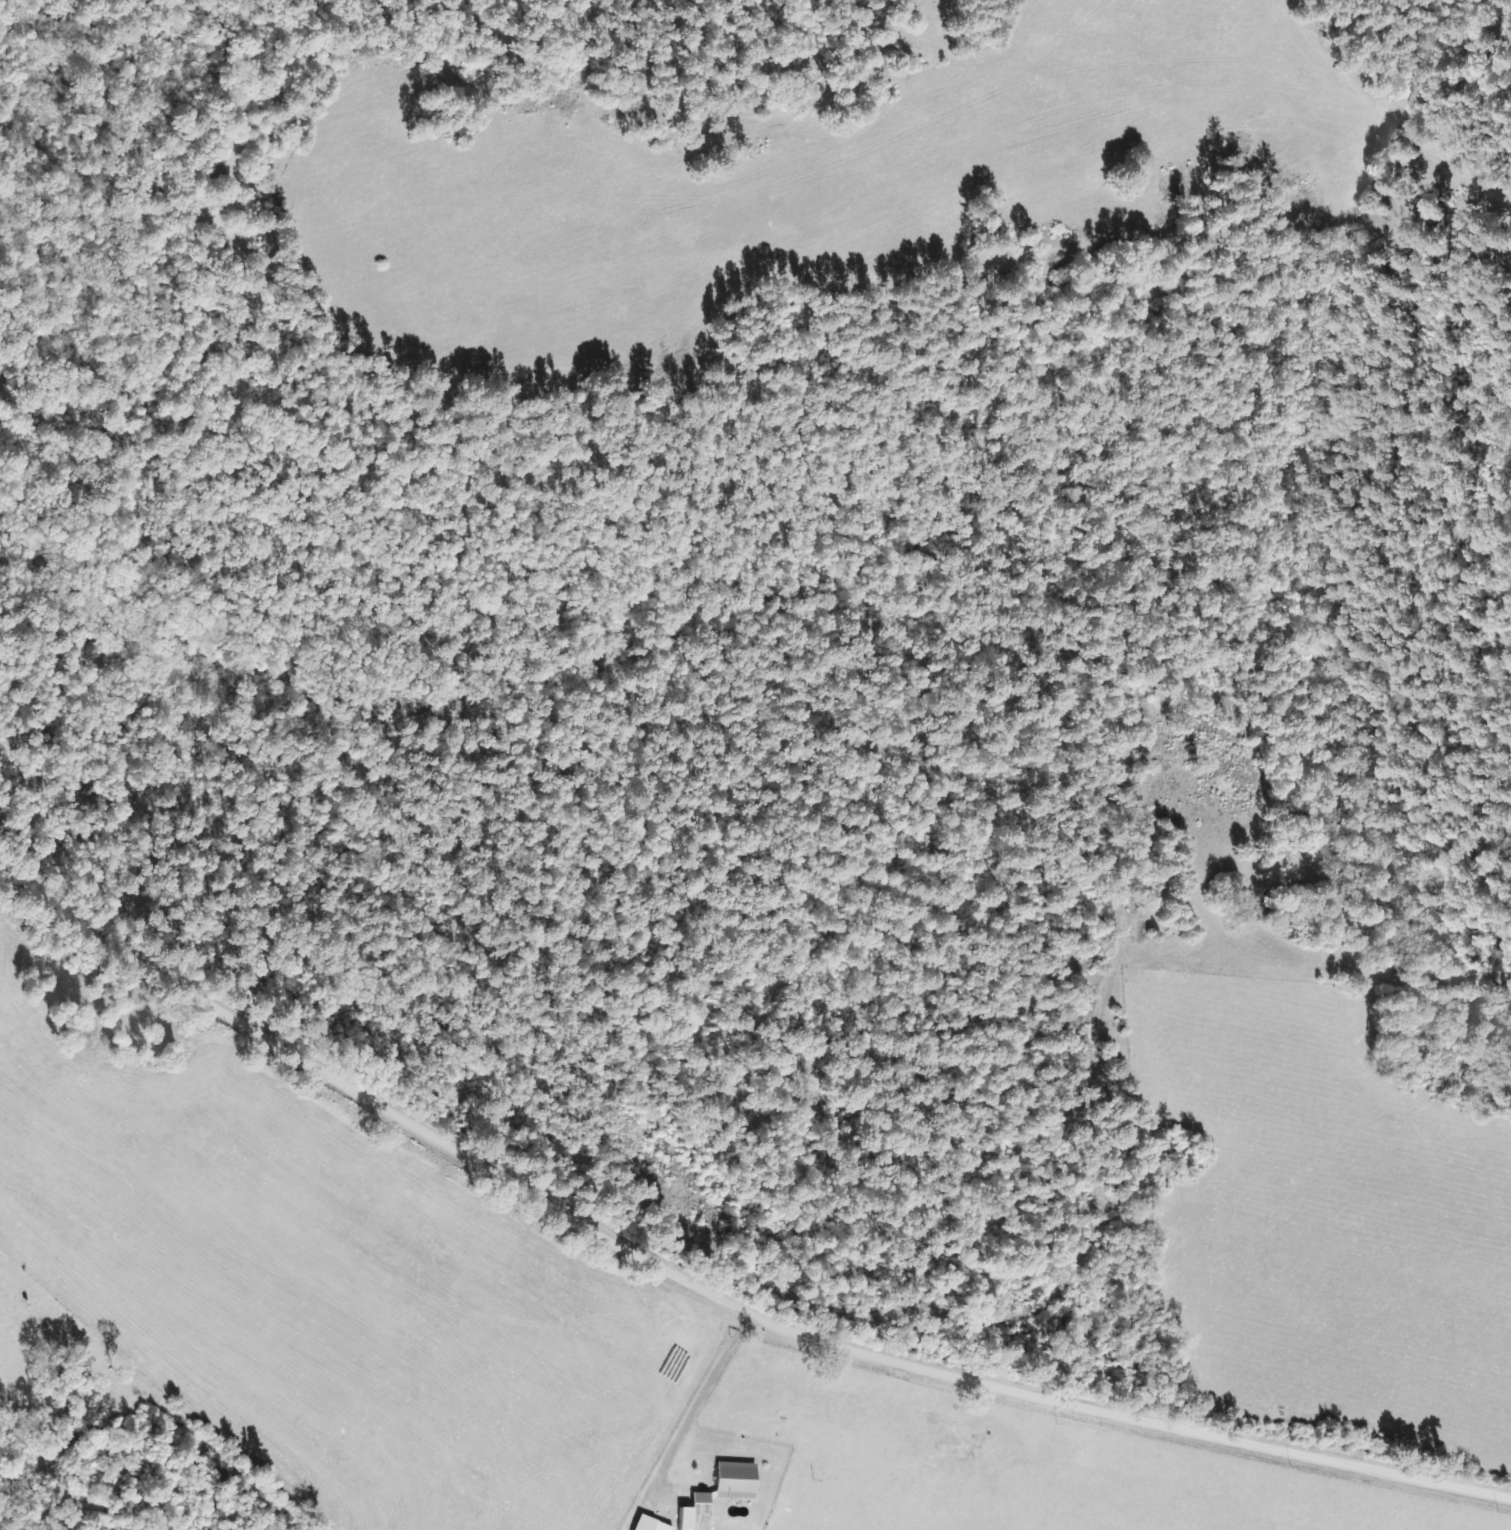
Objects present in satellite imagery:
road: (710, 1294)
building: (733, 1481)
building: (695, 1514)
building: (648, 1524)

